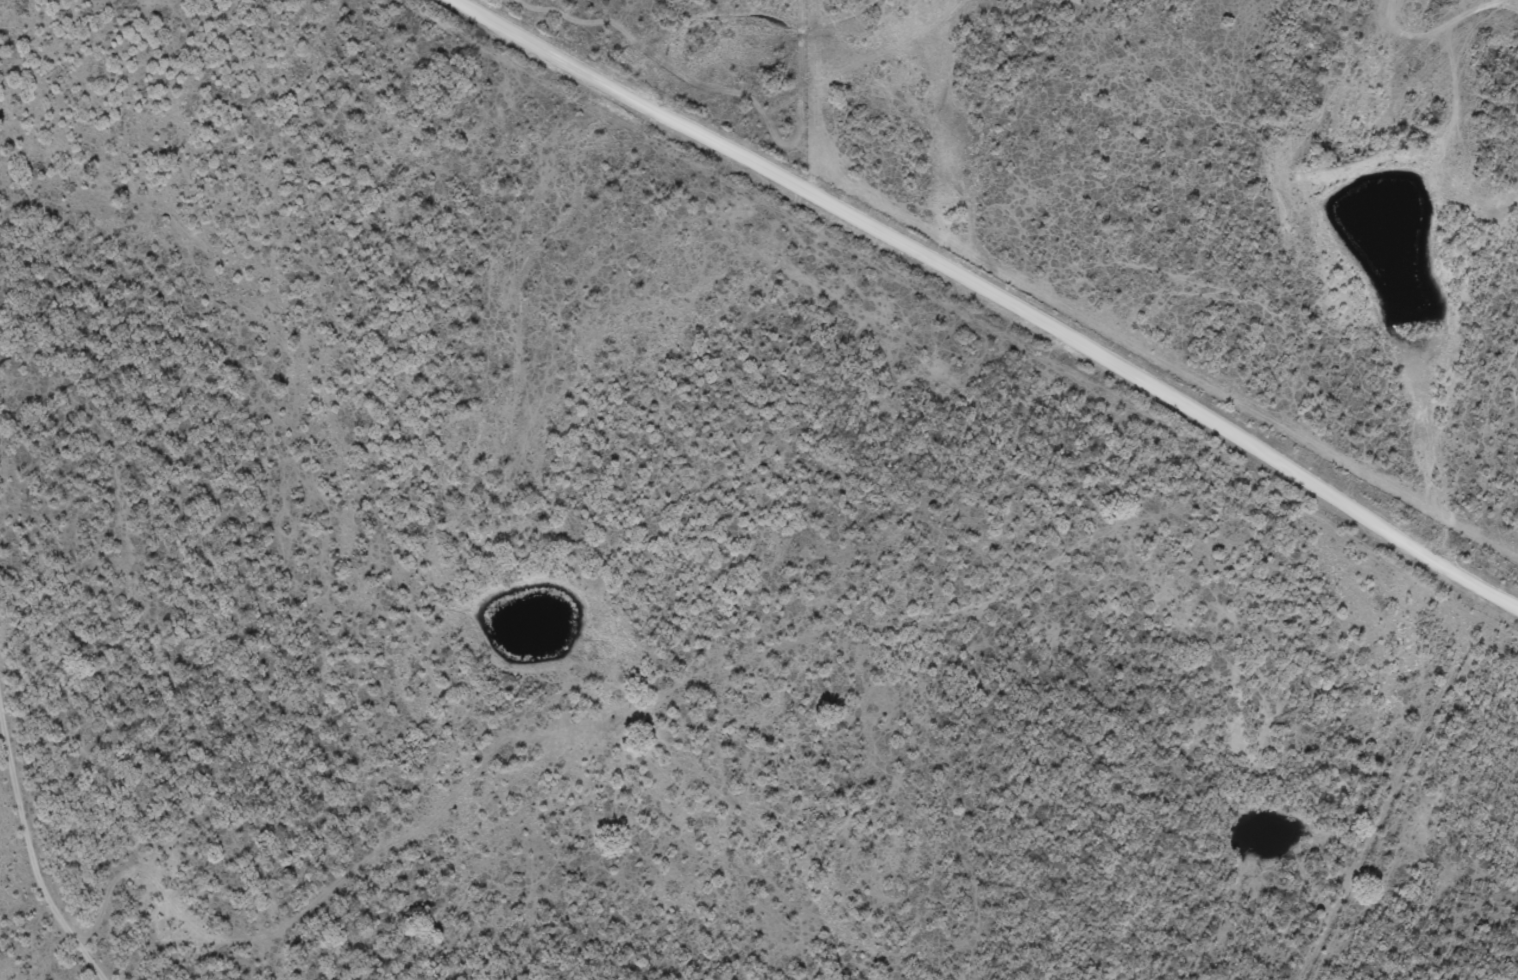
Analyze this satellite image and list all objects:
road: (980, 295)
road: (29, 865)

